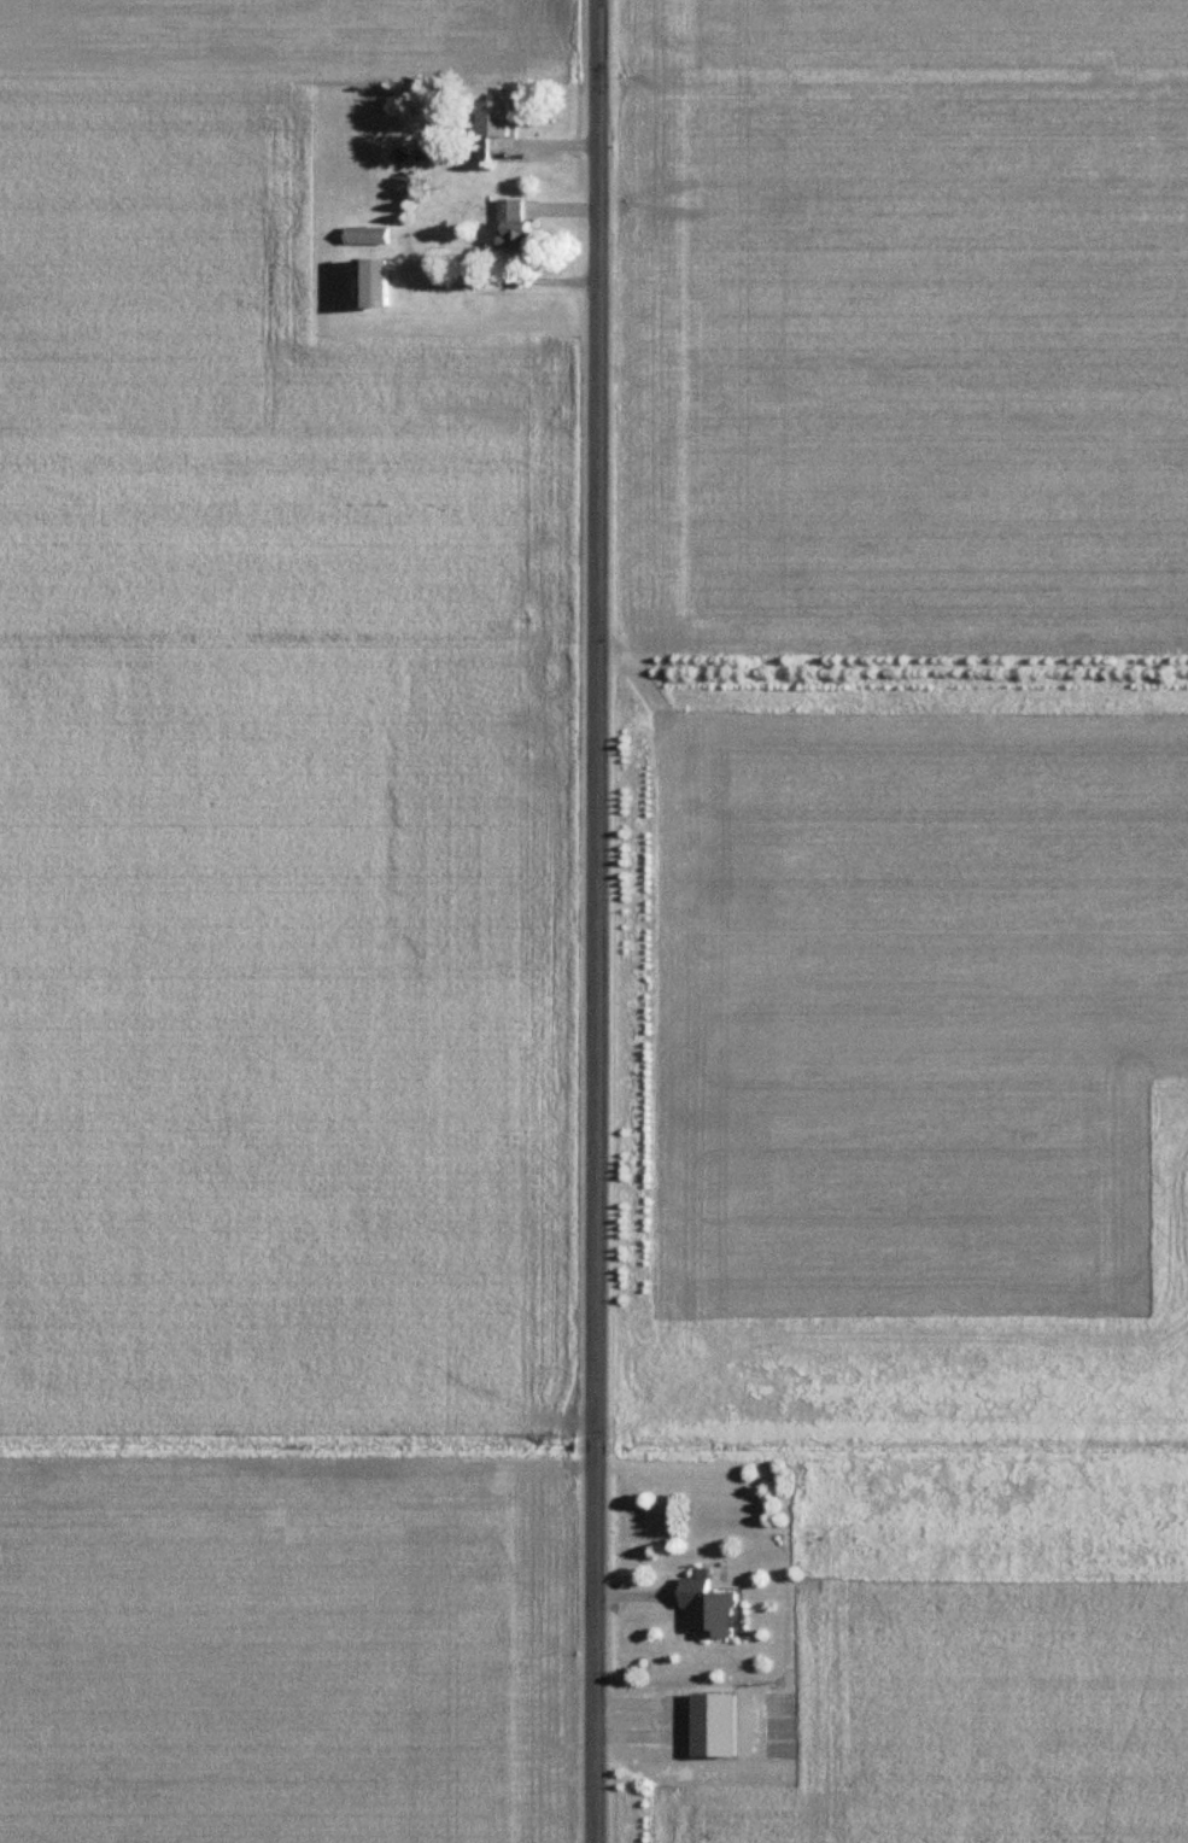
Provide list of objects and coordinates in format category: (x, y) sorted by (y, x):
building: (502, 119)
building: (521, 226)
building: (373, 234)
building: (380, 282)
road: (596, 920)
building: (715, 1608)

